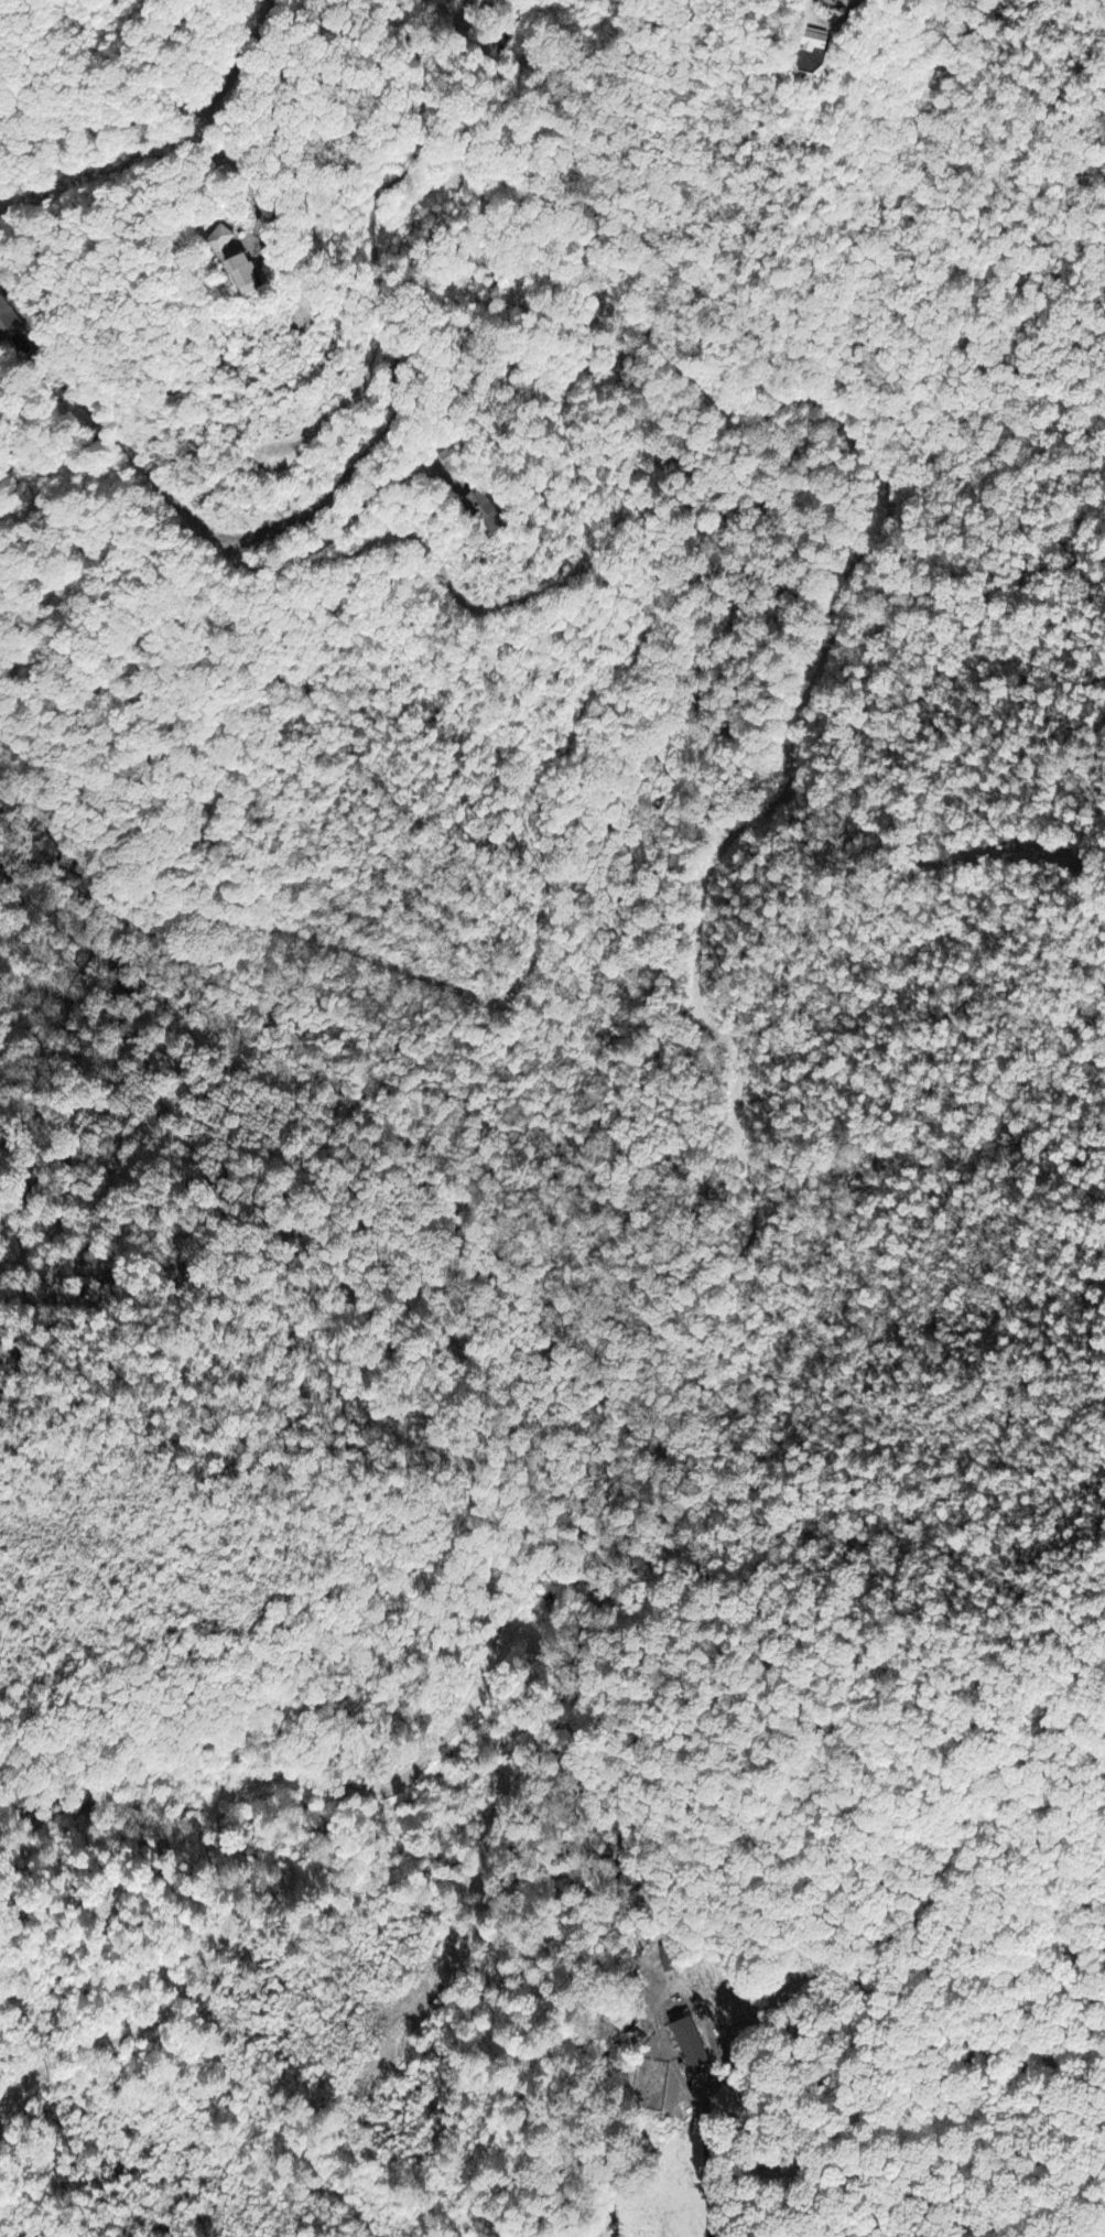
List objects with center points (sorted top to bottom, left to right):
building: (816, 40)
building: (221, 238)
building: (246, 273)
building: (7, 318)
road: (584, 366)
building: (487, 511)
building: (692, 2045)
road: (697, 2088)

